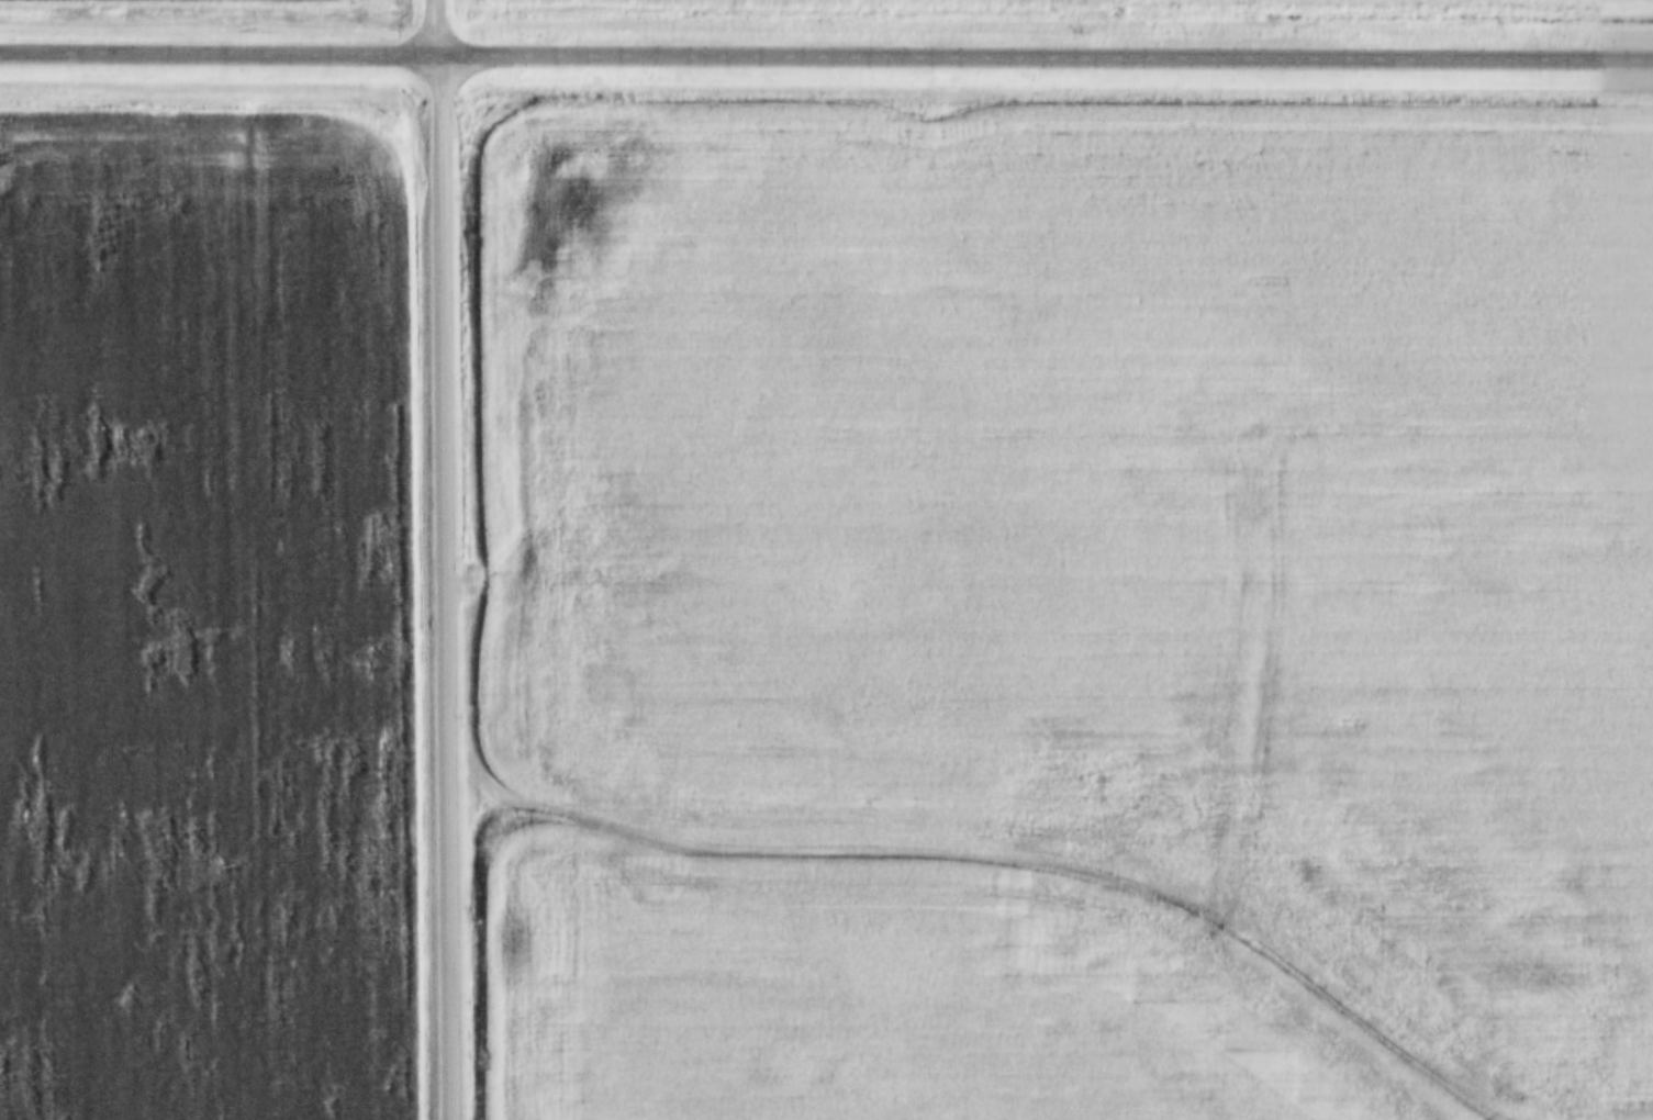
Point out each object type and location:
crop: (310, 0)
road: (442, 27)
road: (826, 57)
road: (449, 587)
crop: (202, 620)

